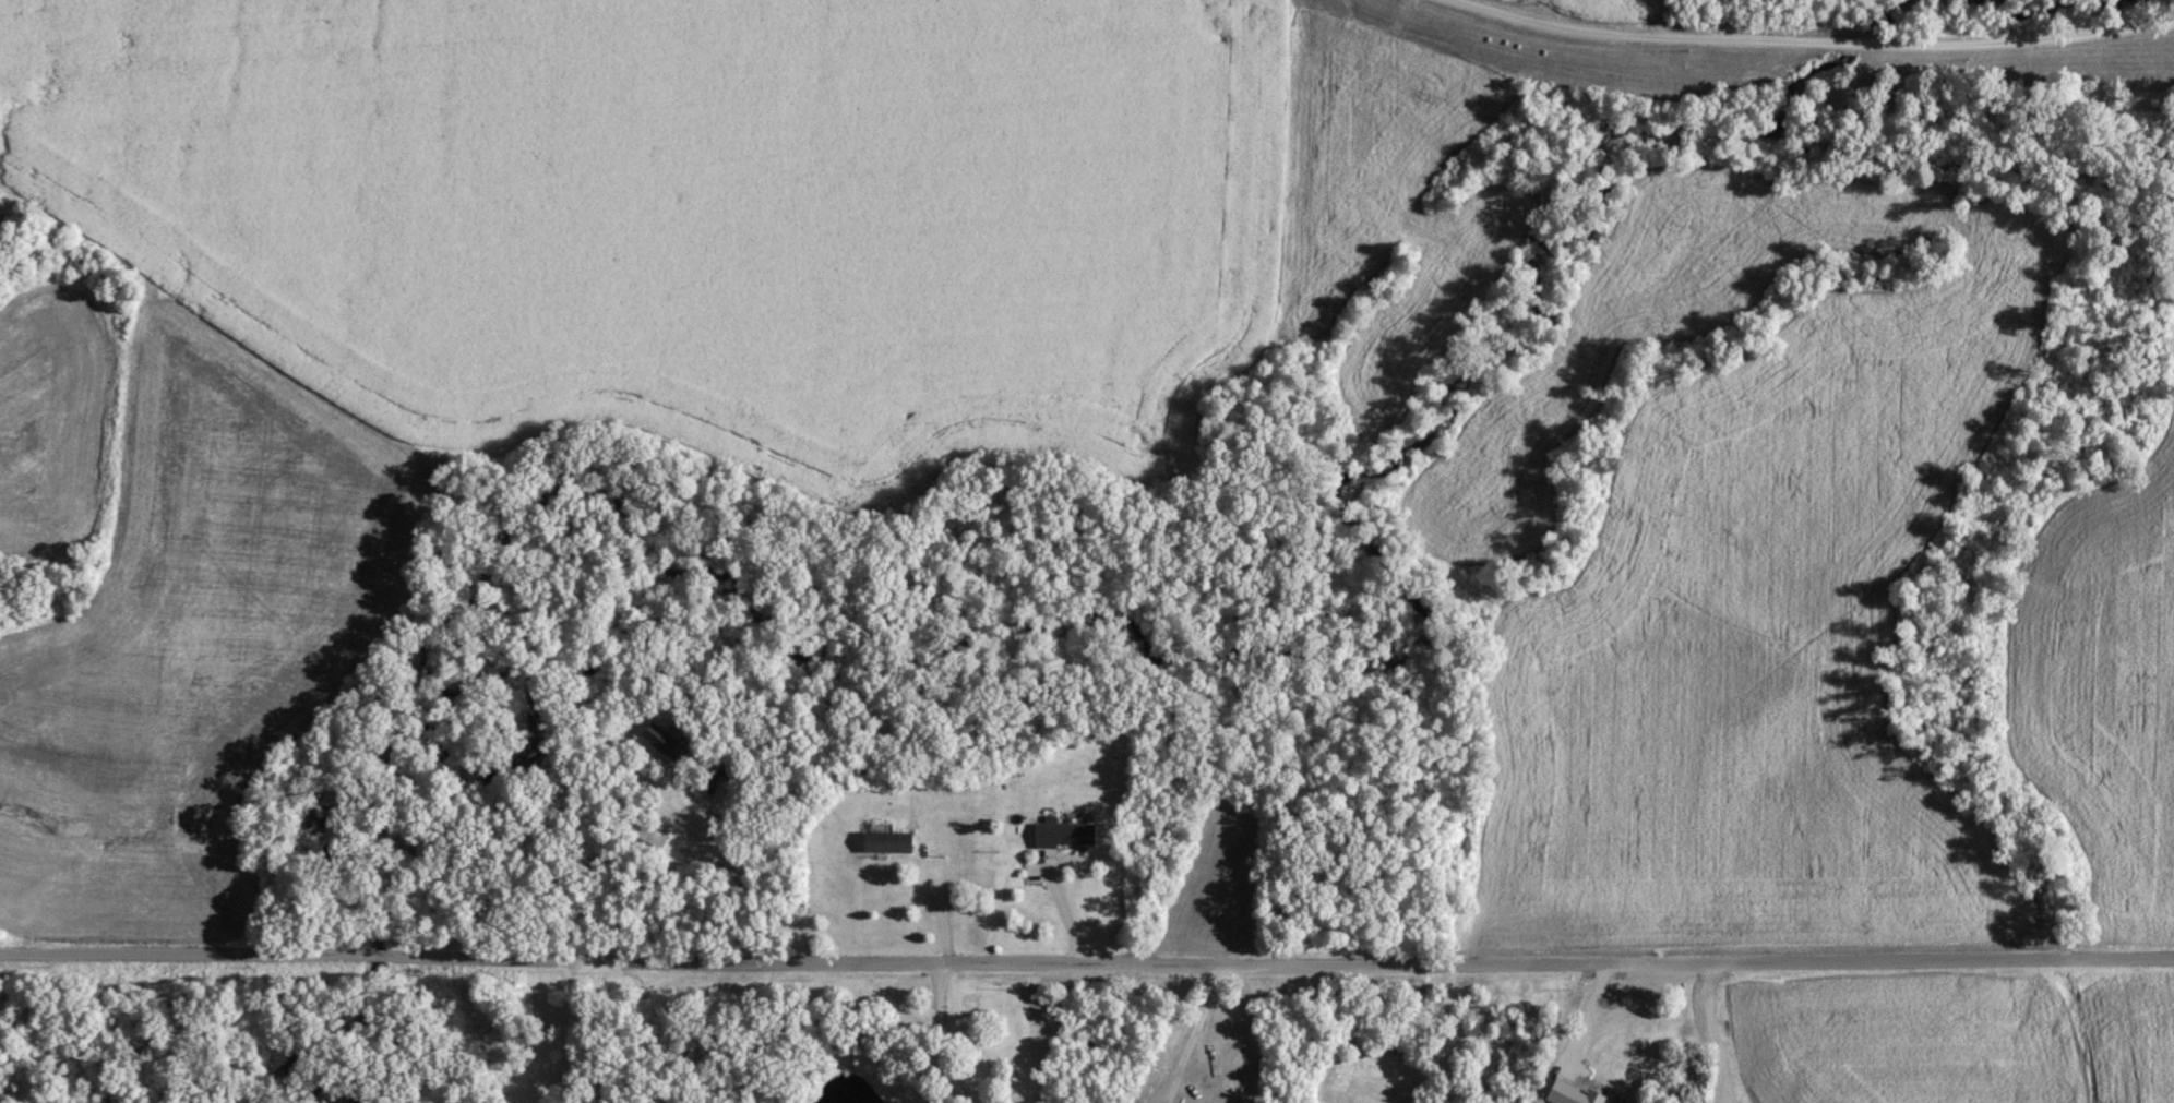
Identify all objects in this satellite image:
road: (1805, 43)
building: (668, 740)
building: (1066, 831)
building: (653, 841)
building: (893, 841)
road: (1086, 963)
building: (1575, 1093)

